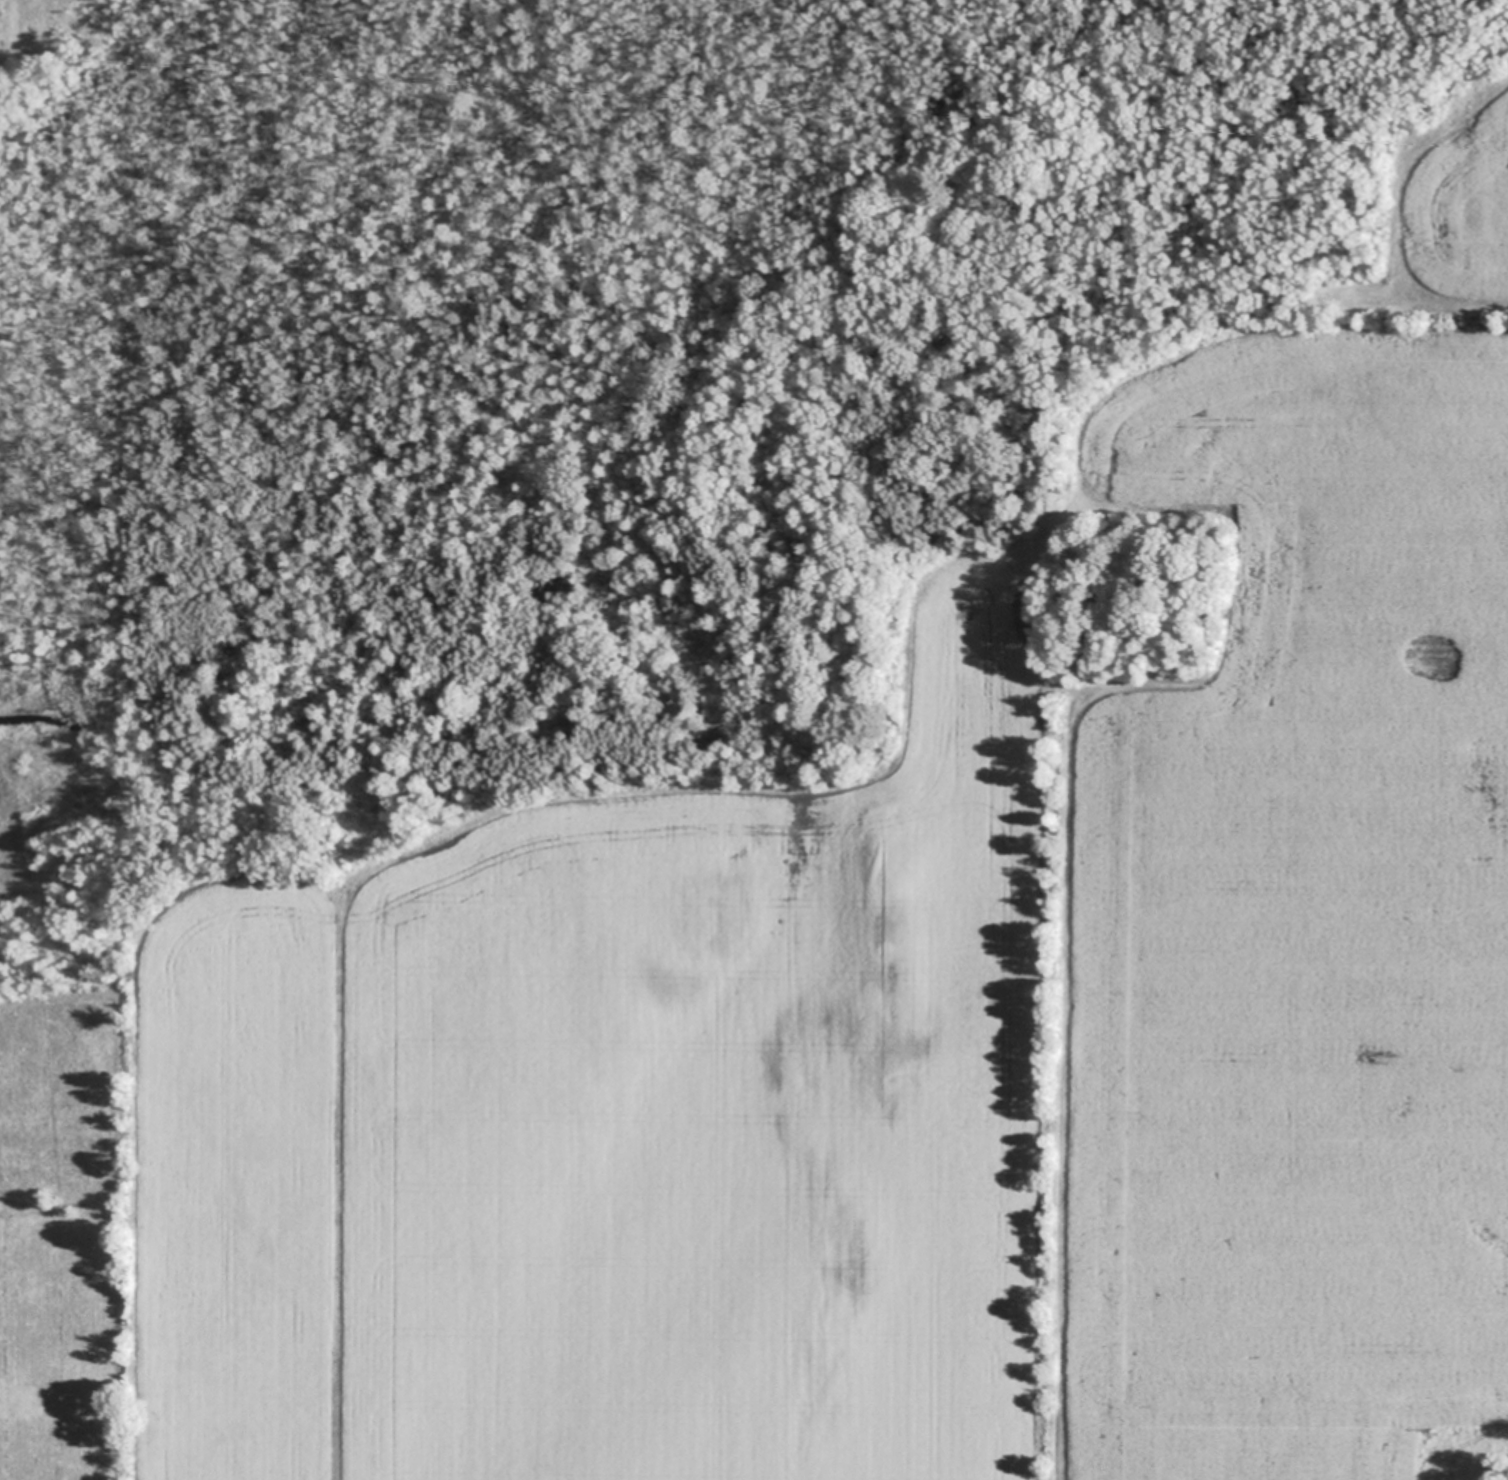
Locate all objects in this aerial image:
building: (1, 896)

